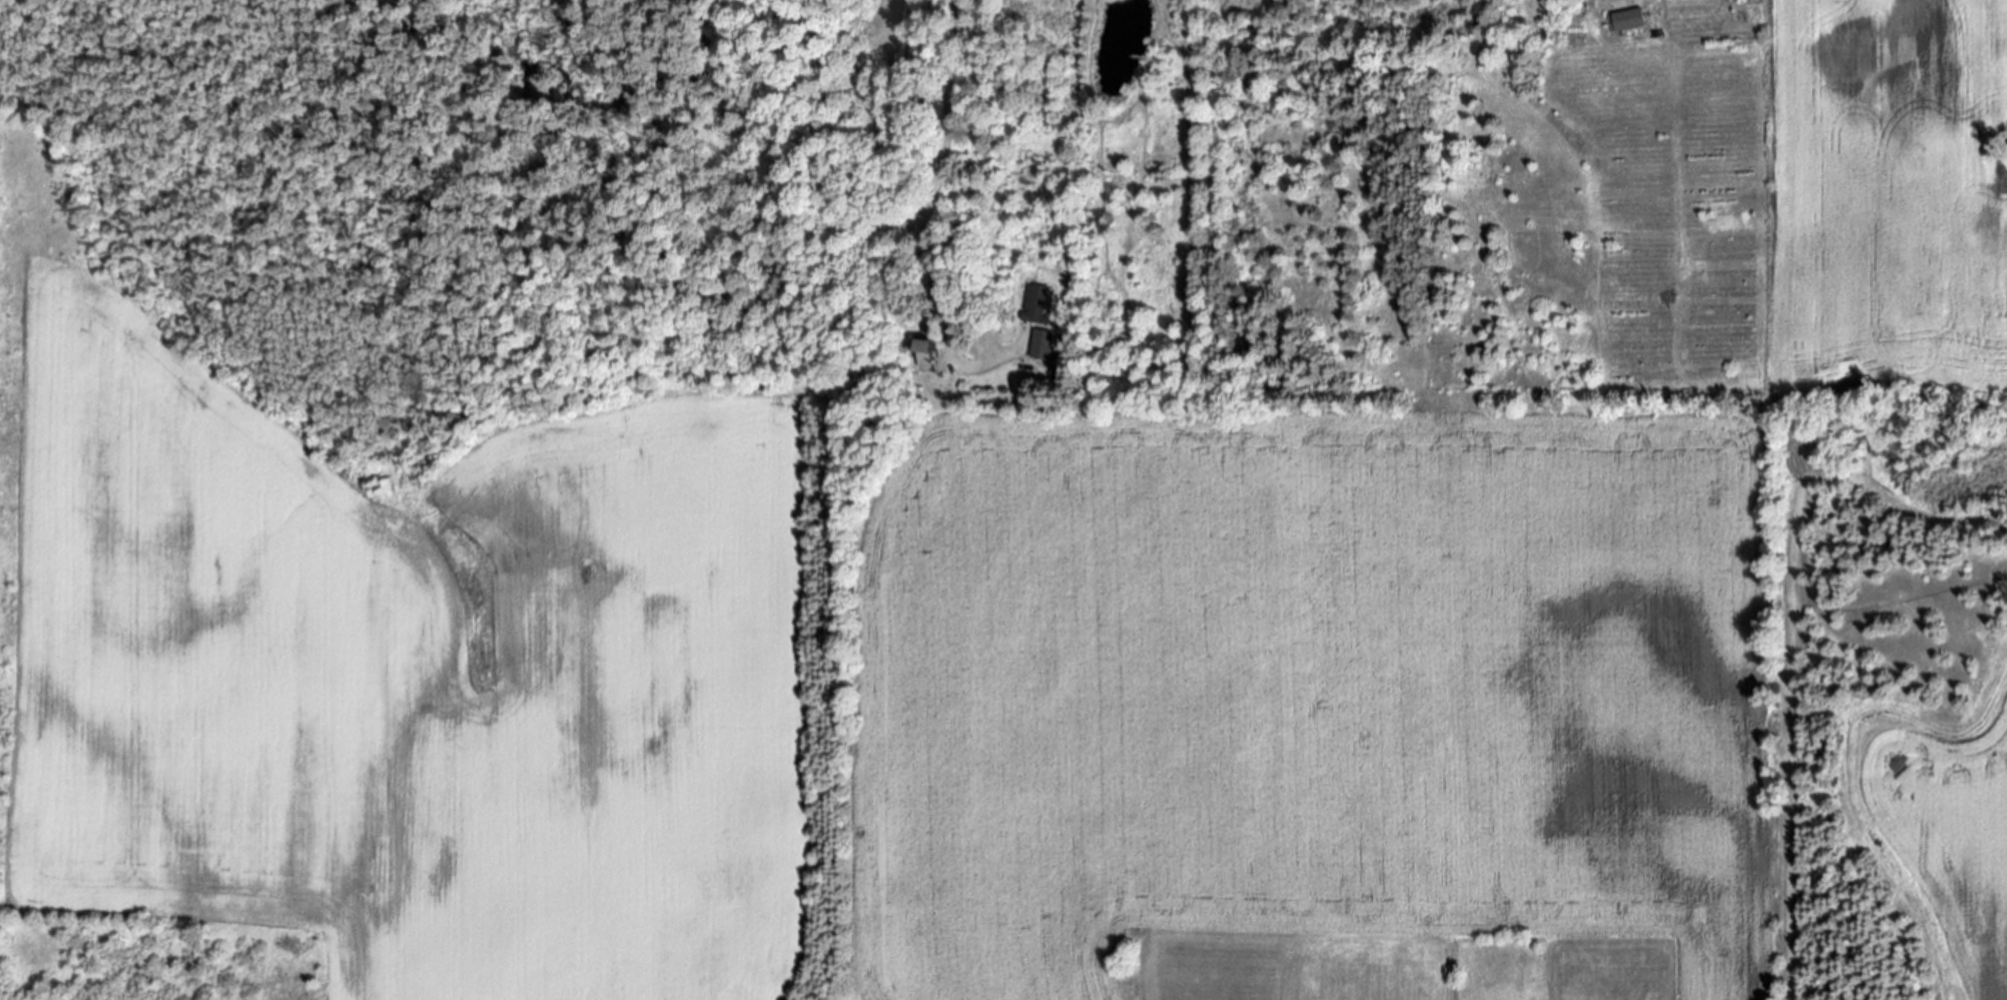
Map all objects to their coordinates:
building: (1627, 20)
road: (1561, 48)
road: (948, 132)
building: (1036, 304)
building: (1042, 345)
building: (925, 352)
road: (979, 368)

